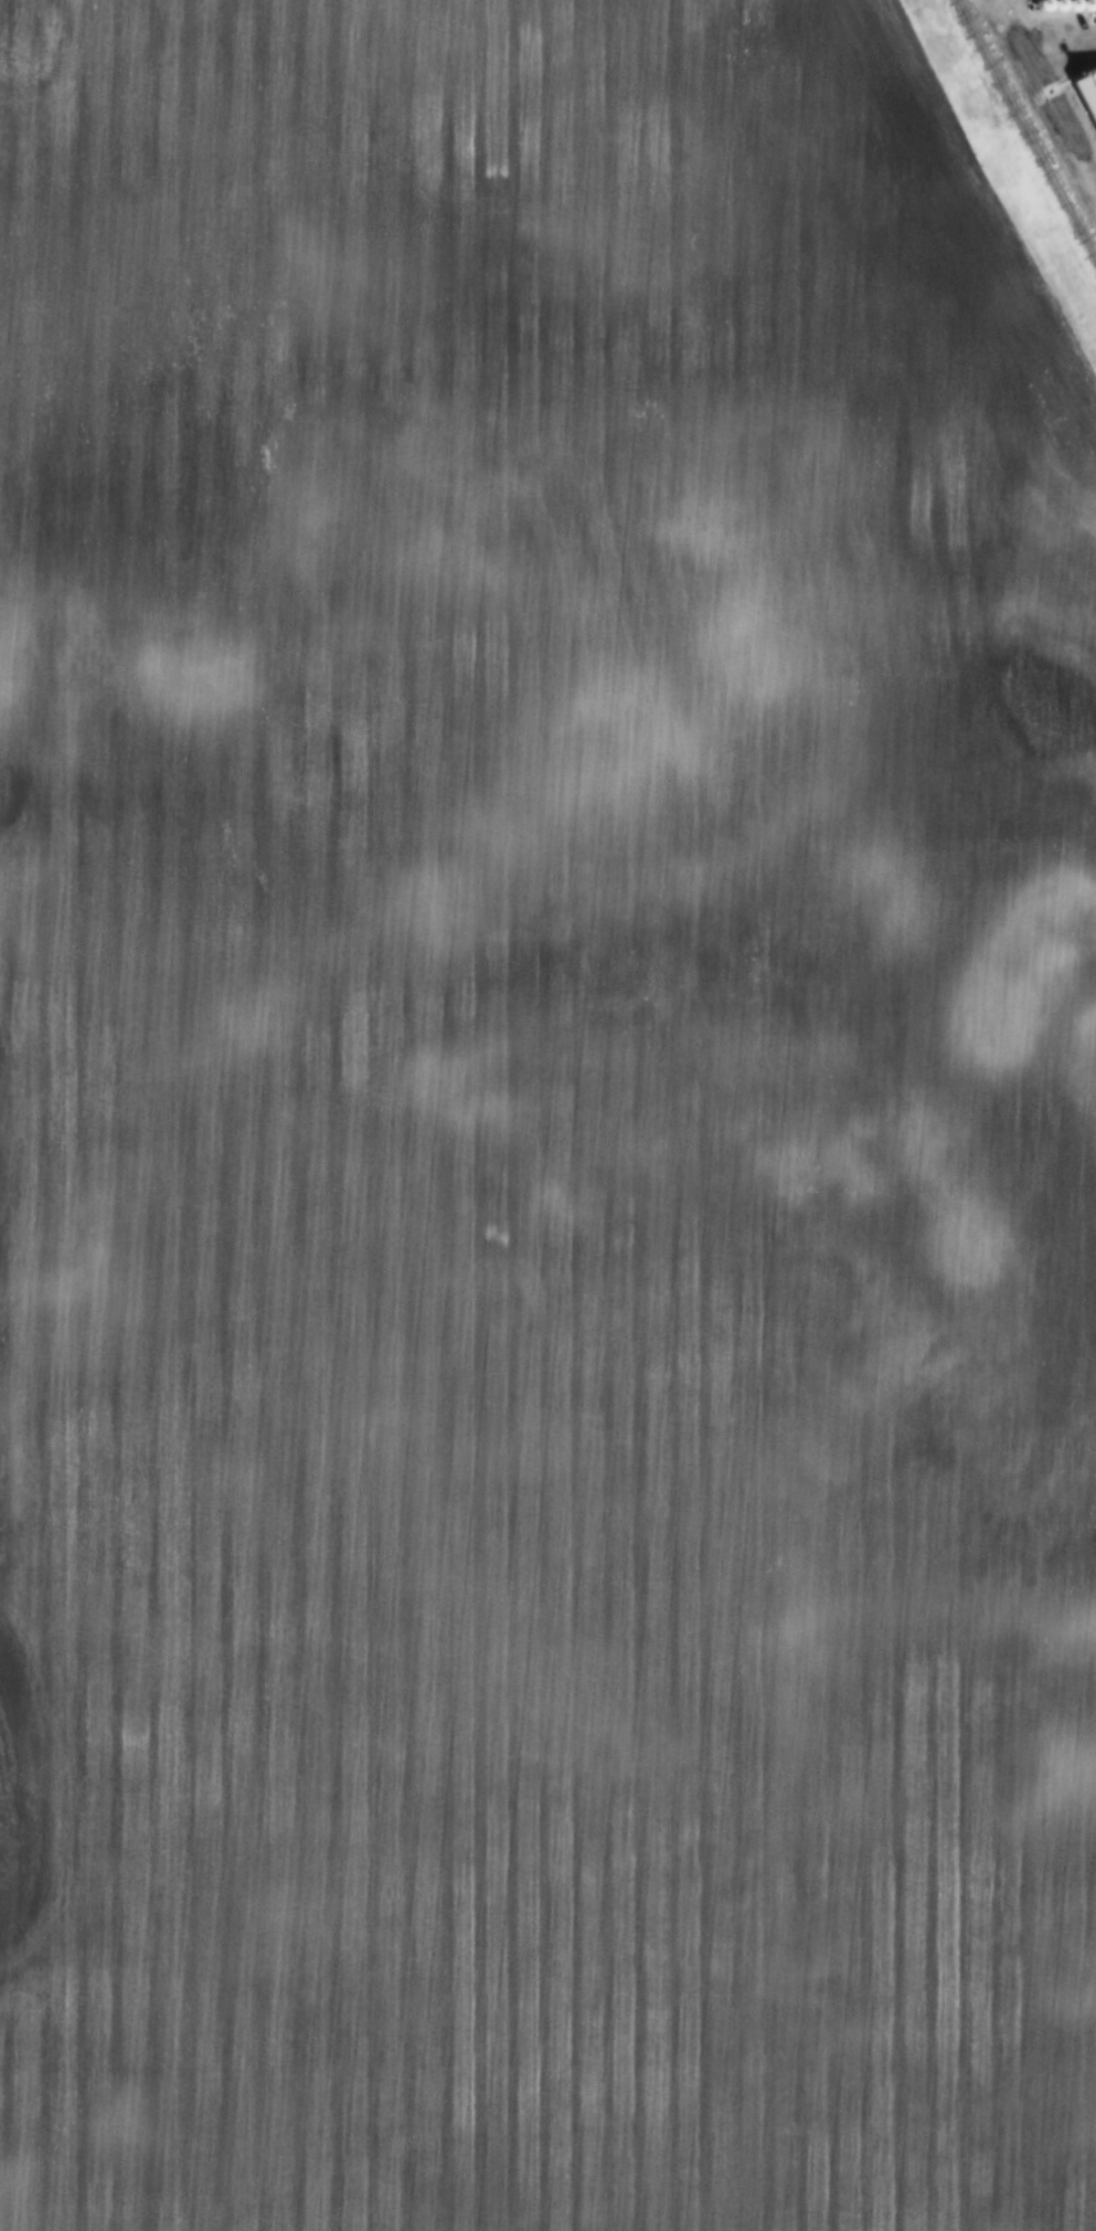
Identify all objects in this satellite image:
building: (1064, 10)
silo: (1064, 10)
building: (1079, 10)
silo: (1079, 10)
building: (1035, 11)
silo: (1035, 11)
building: (1050, 11)
silo: (1050, 11)
railway: (1054, 74)
building: (1086, 96)
railway: (1025, 131)

